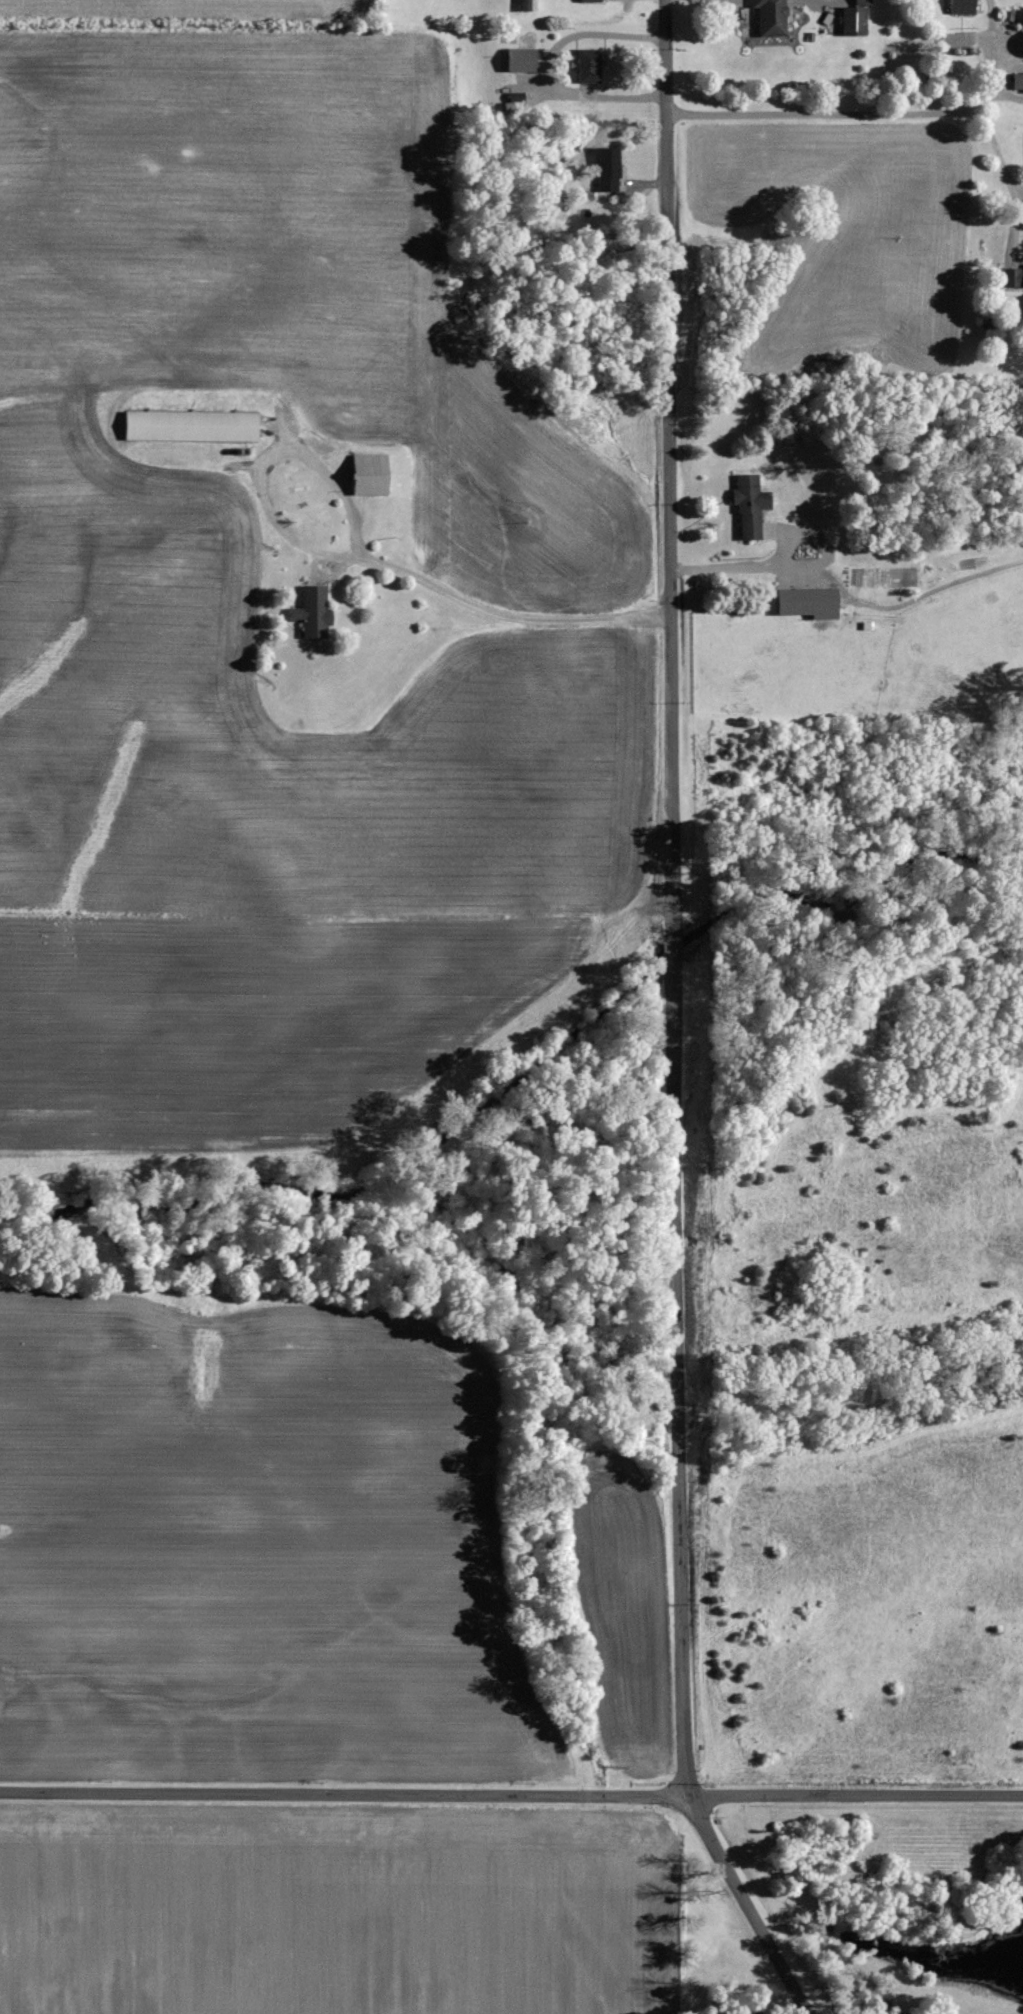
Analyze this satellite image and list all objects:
building: (587, 1)
building: (959, 7)
building: (768, 17)
building: (850, 22)
building: (945, 41)
building: (1021, 48)
building: (518, 61)
building: (585, 66)
building: (1016, 83)
road: (870, 107)
building: (605, 171)
building: (1011, 279)
building: (187, 427)
building: (364, 476)
building: (747, 506)
road: (344, 559)
building: (804, 604)
building: (309, 612)
road: (652, 1025)
road: (511, 1795)

